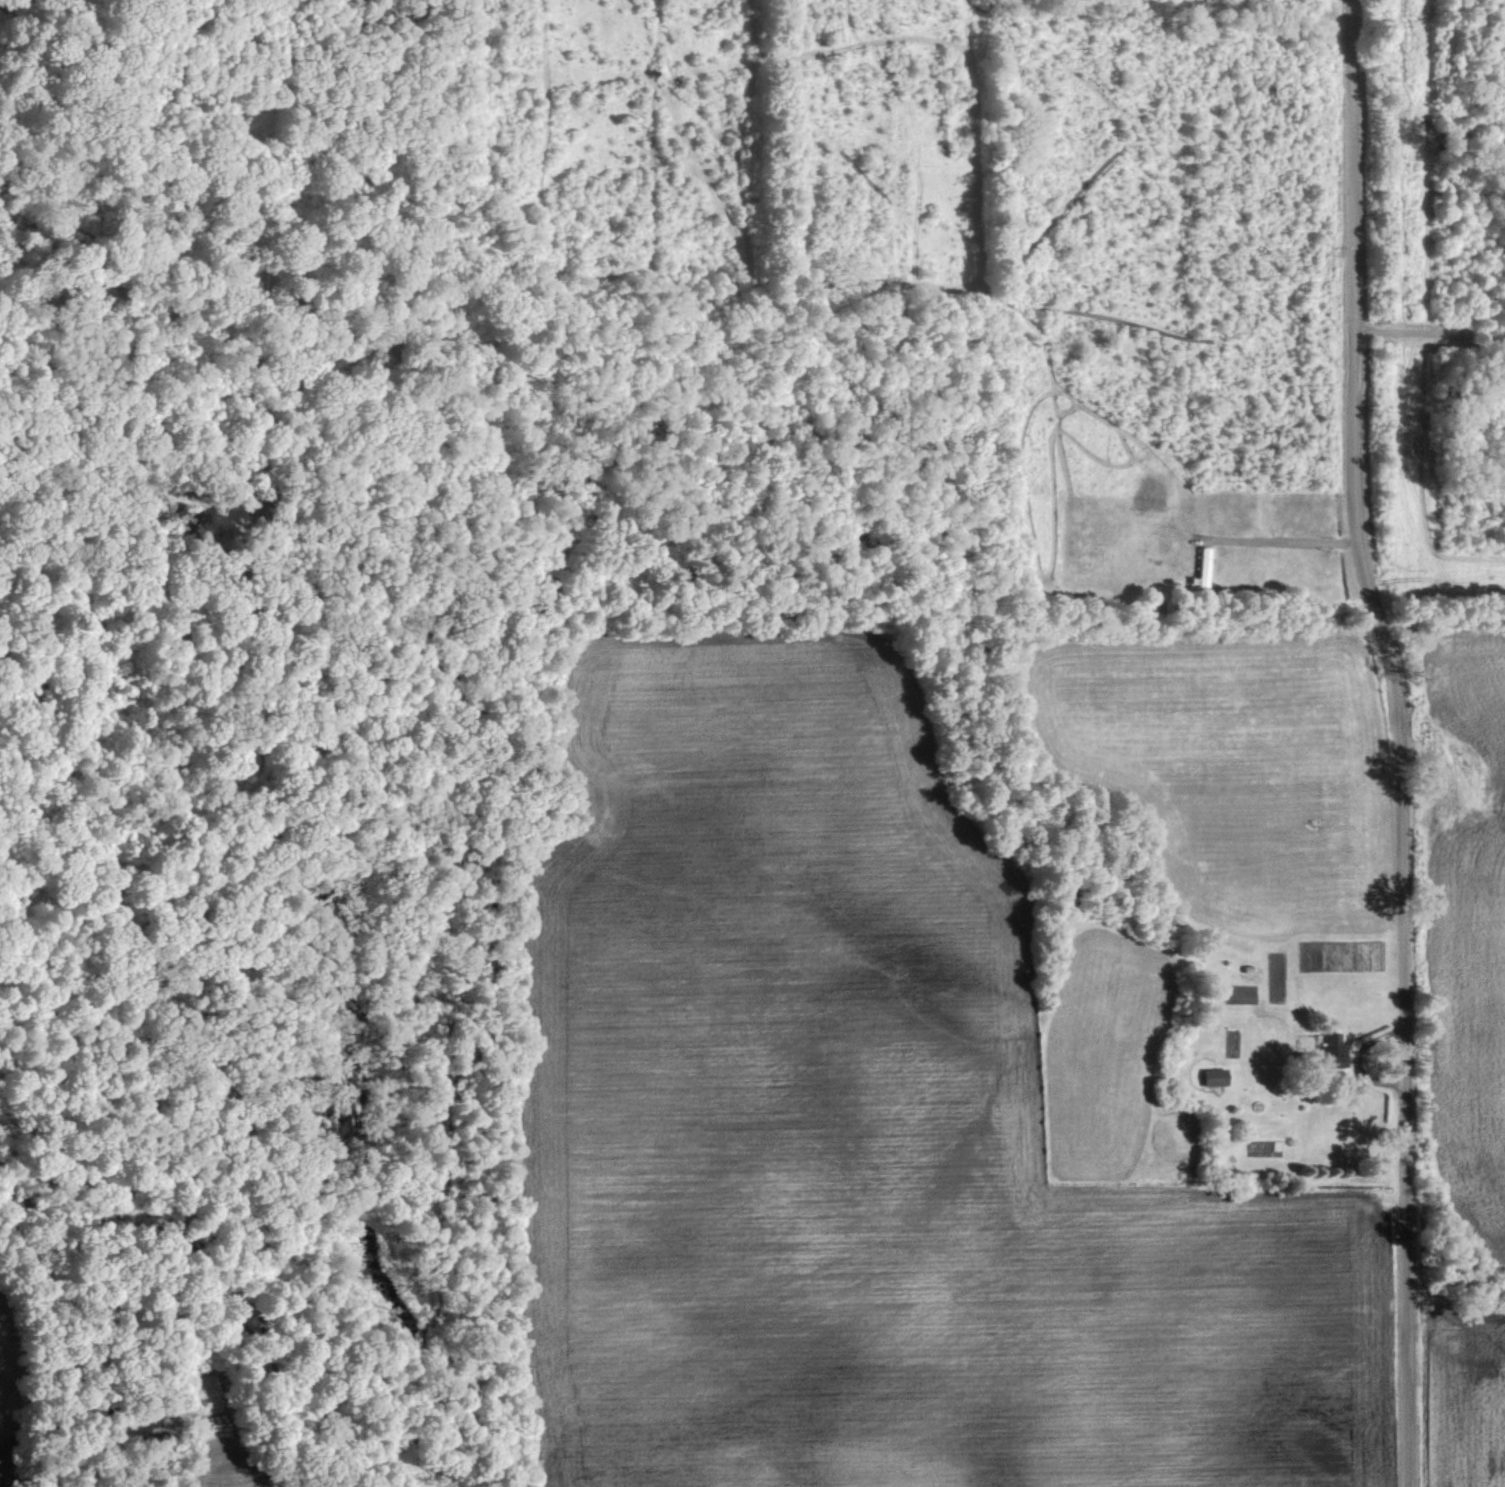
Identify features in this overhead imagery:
road: (1430, 330)
road: (1282, 540)
building: (1200, 567)
road: (1399, 740)
building: (1331, 1052)
building: (1218, 1076)

